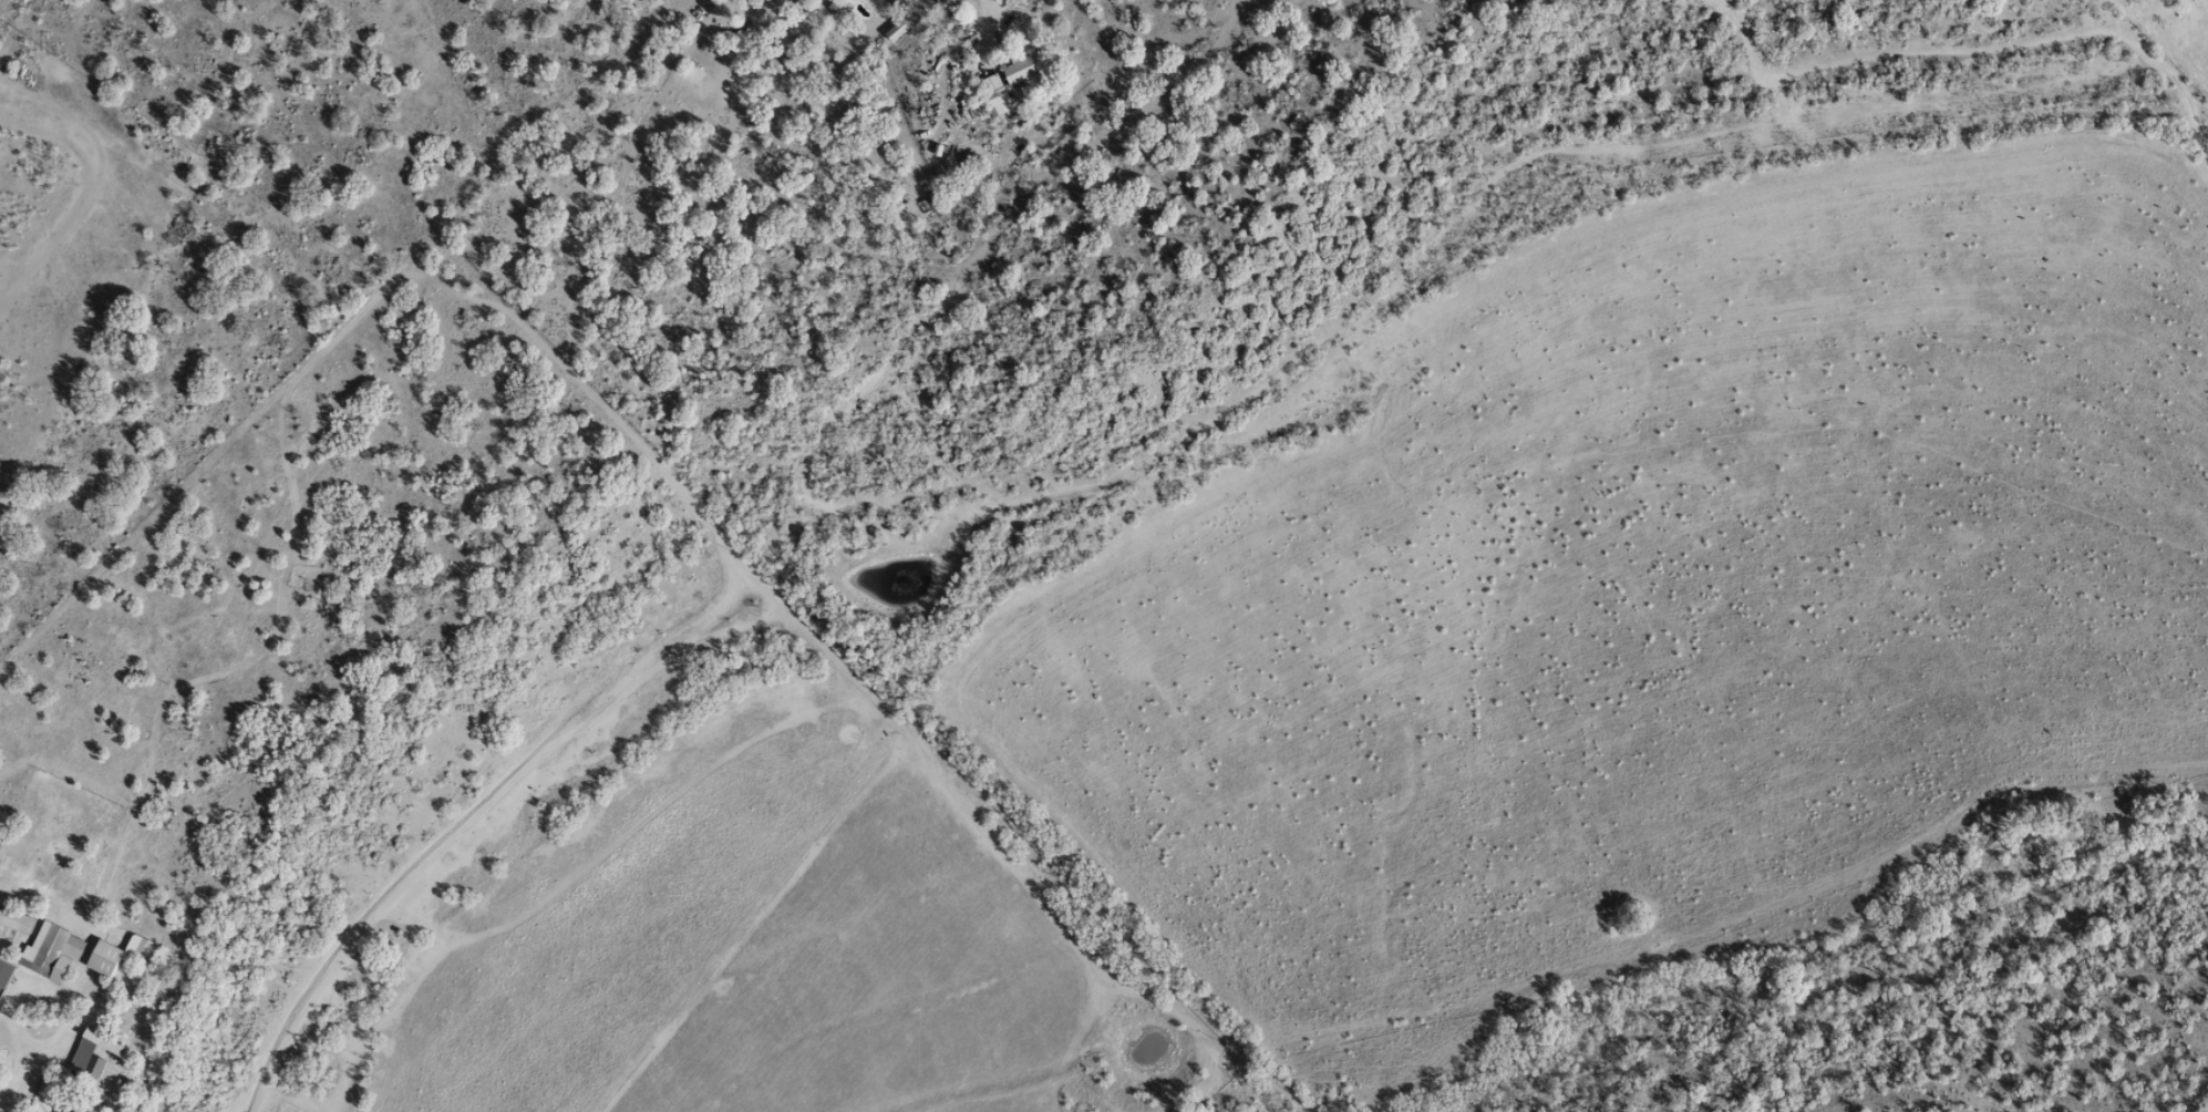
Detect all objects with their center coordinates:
building: (828, 0)
building: (898, 4)
road: (982, 11)
building: (742, 38)
building: (1003, 83)
road: (2013, 184)
road: (2198, 276)
building: (14, 920)
building: (47, 947)
building: (102, 957)
building: (3, 972)
road: (227, 975)
building: (82, 1057)
building: (66, 1109)

